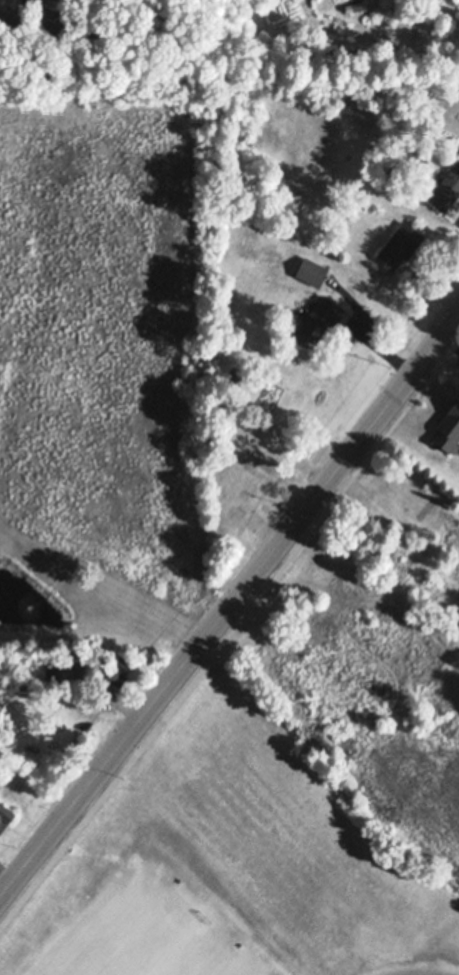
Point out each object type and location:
building: (24, 0)
building: (32, 2)
building: (354, 6)
building: (446, 189)
building: (400, 245)
building: (373, 265)
building: (312, 271)
building: (318, 322)
building: (236, 378)
building: (268, 449)
building: (398, 496)
building: (239, 497)
building: (232, 527)
road: (229, 608)
building: (352, 639)
building: (74, 660)
building: (389, 660)
building: (114, 671)
building: (389, 702)
building: (5, 818)
park: (156, 930)

